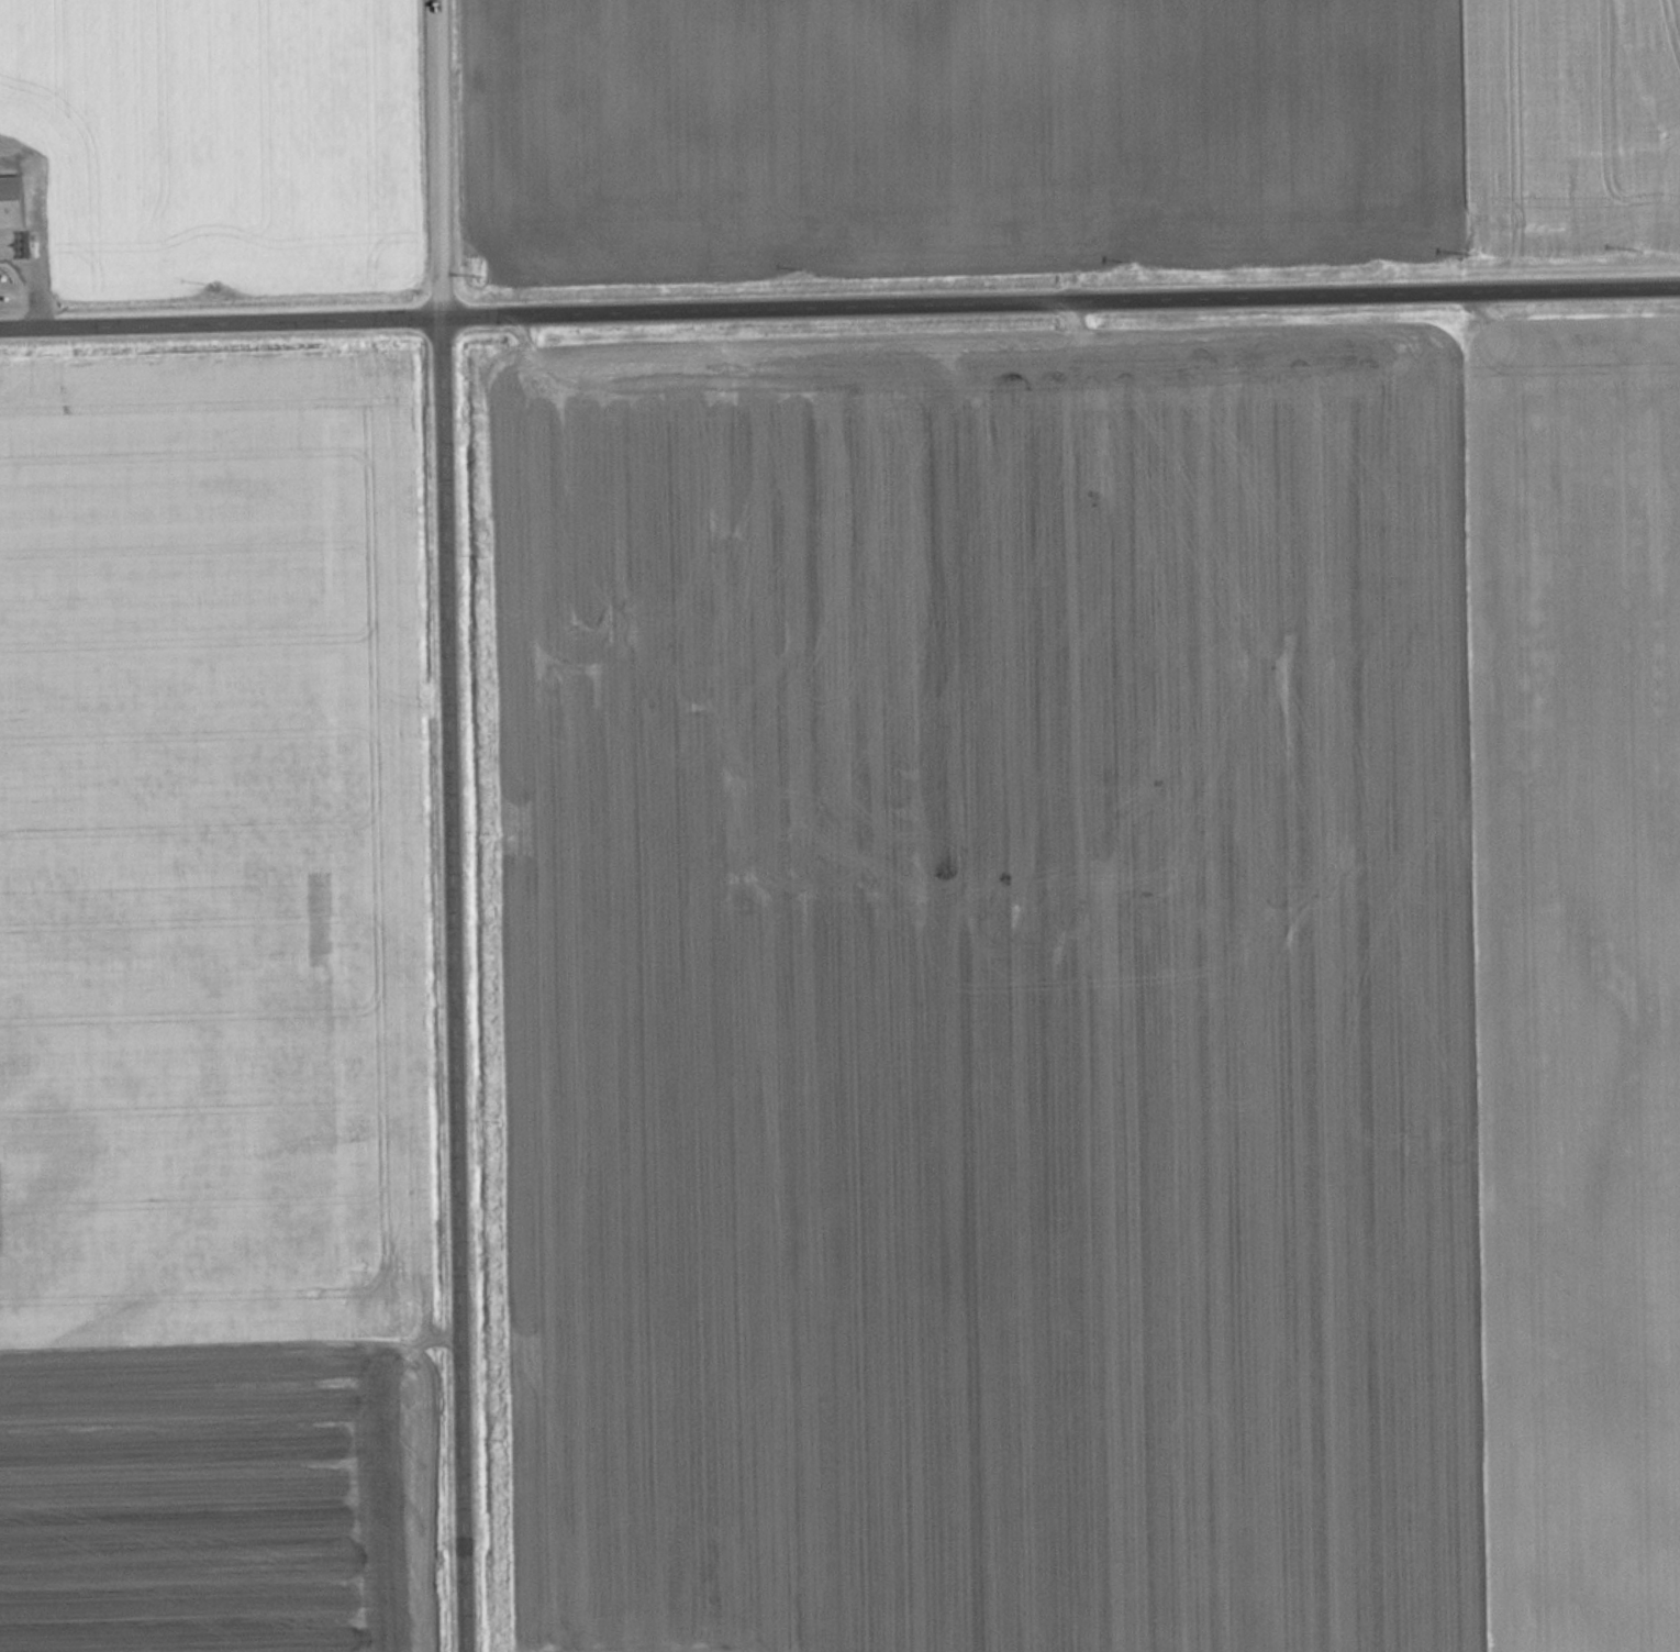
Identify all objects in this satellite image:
building: (13, 201)
road: (839, 306)
road: (463, 825)

